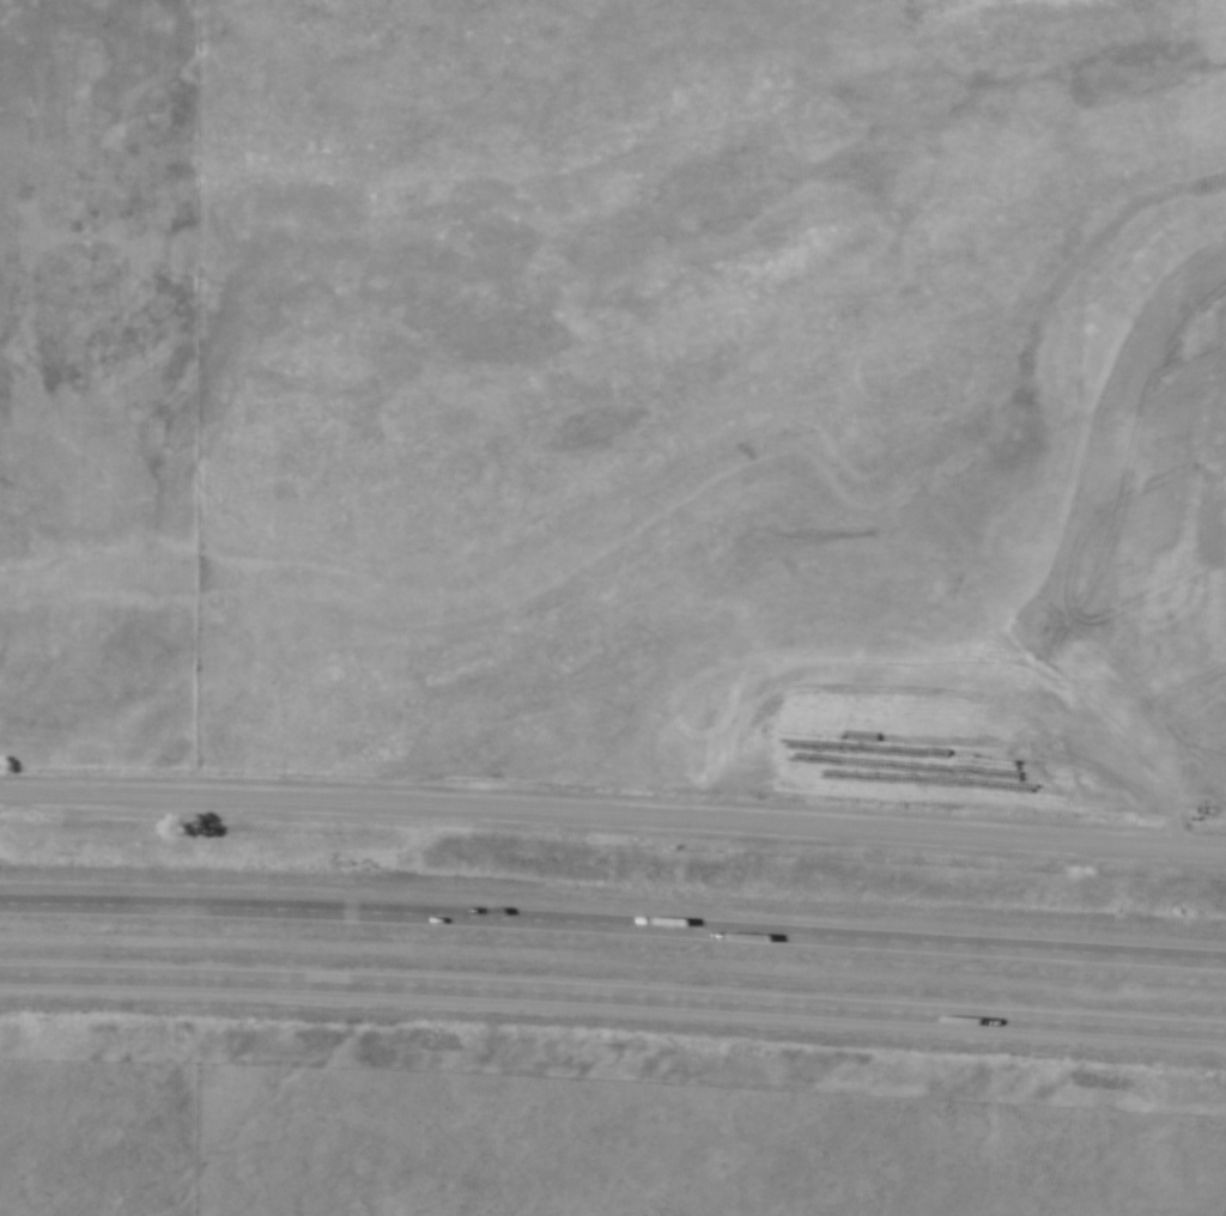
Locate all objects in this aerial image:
road: (613, 816)
road: (613, 922)
road: (613, 993)

